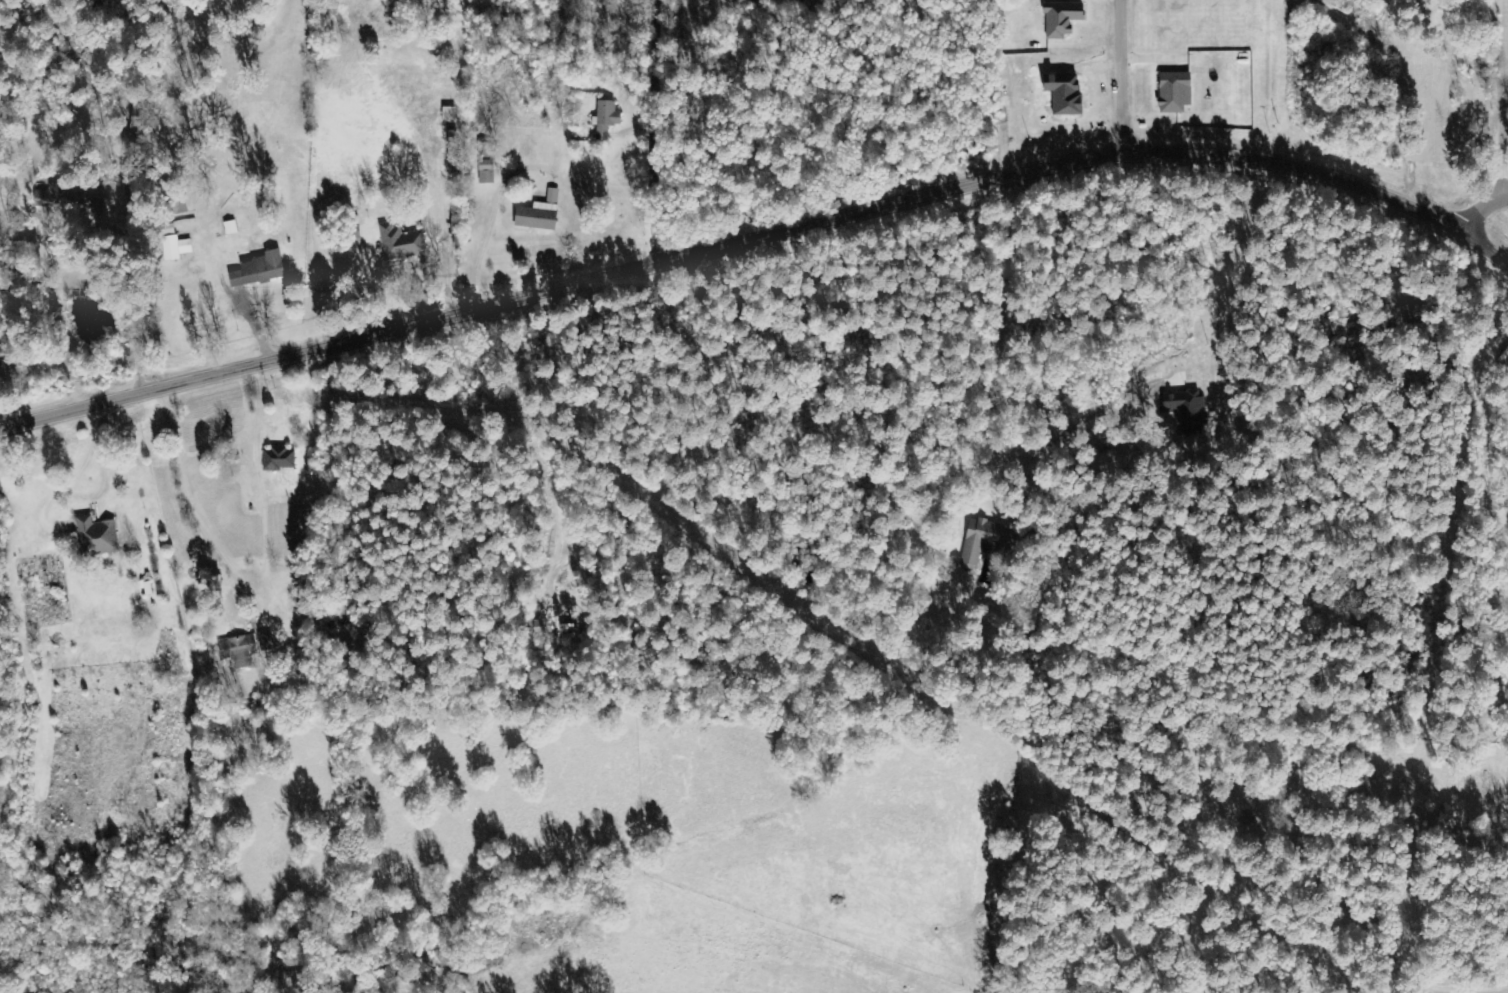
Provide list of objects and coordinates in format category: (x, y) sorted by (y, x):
building: (1062, 18)
road: (1132, 79)
building: (1175, 92)
building: (449, 114)
building: (606, 118)
road: (657, 133)
building: (453, 138)
building: (455, 161)
building: (486, 172)
building: (552, 195)
building: (51, 197)
road: (1485, 211)
building: (538, 216)
building: (402, 242)
road: (758, 243)
building: (177, 248)
building: (260, 270)
road: (1028, 274)
building: (1187, 408)
road: (477, 424)
road: (1434, 444)
building: (279, 459)
building: (97, 537)
building: (984, 541)
road: (92, 636)
building: (267, 642)
building: (239, 649)

